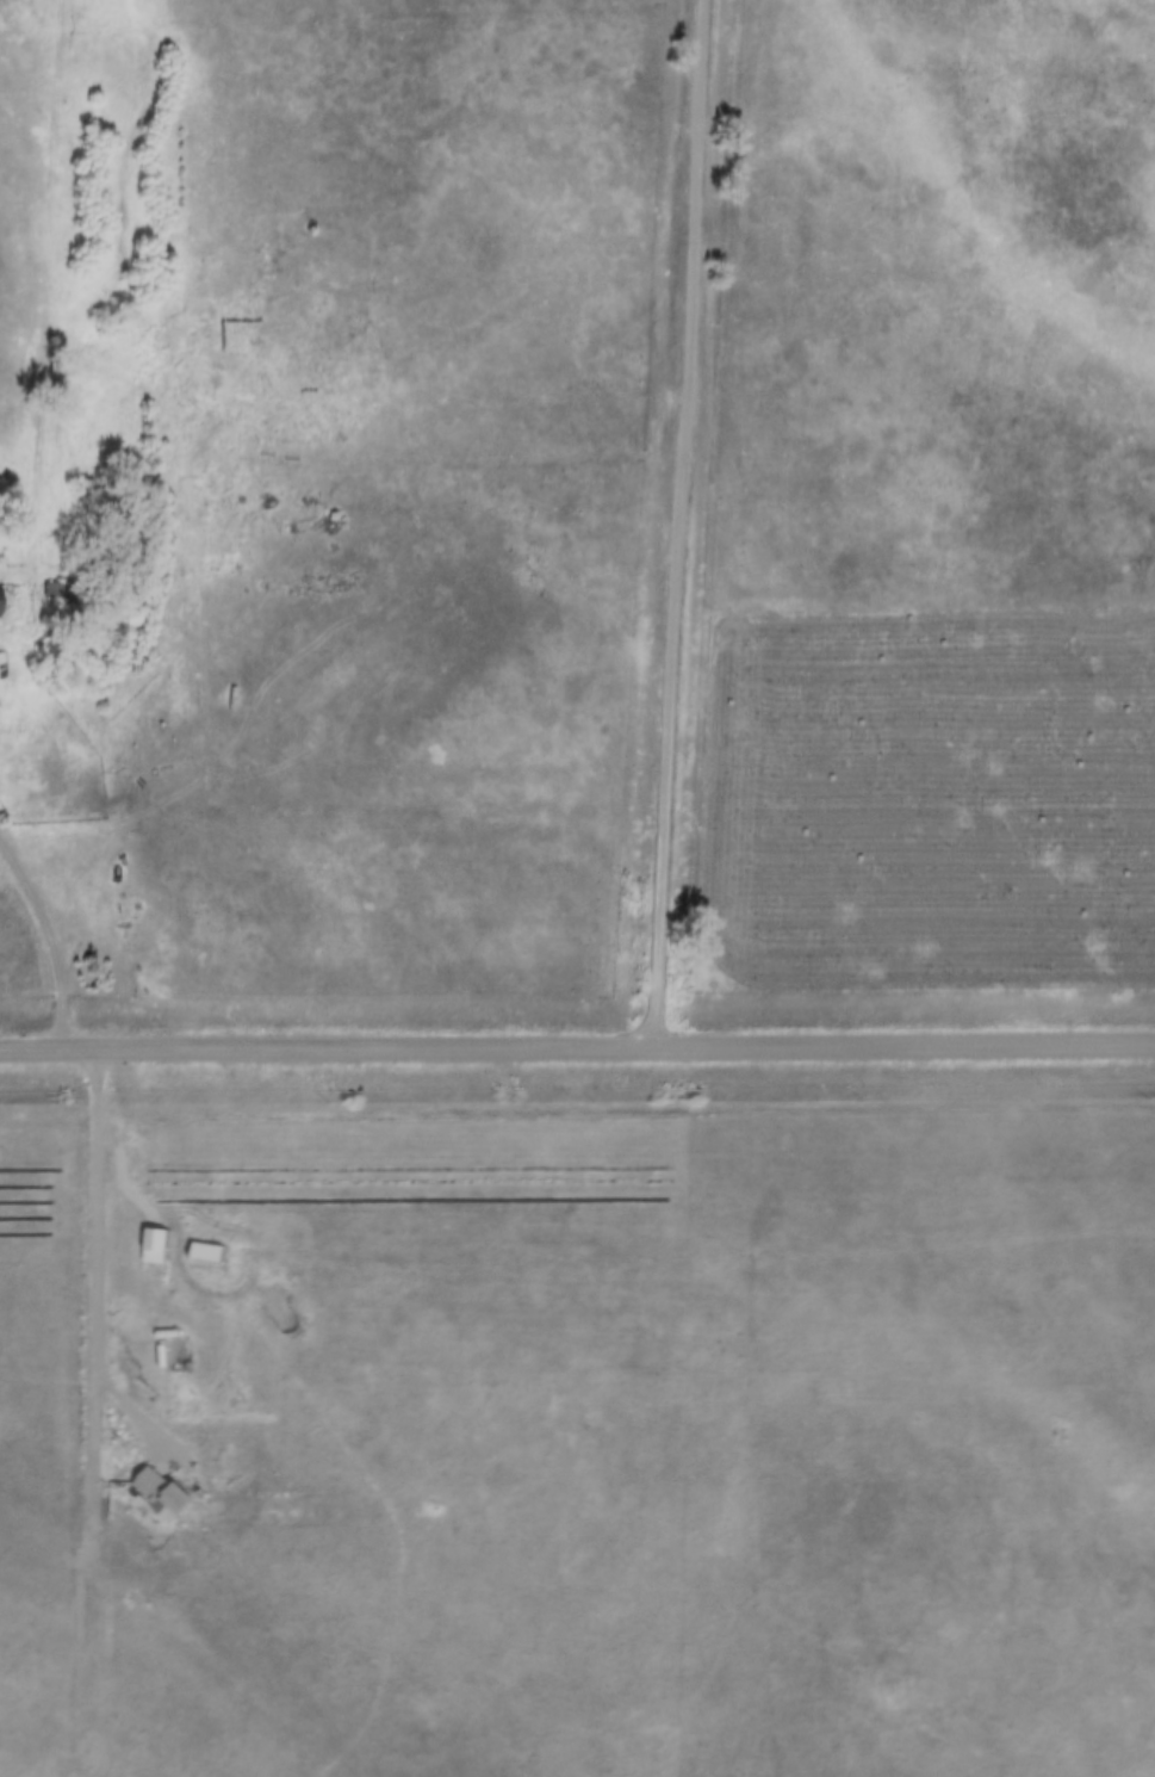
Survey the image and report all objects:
road: (678, 526)
road: (52, 945)
road: (577, 1052)
park: (926, 1441)

